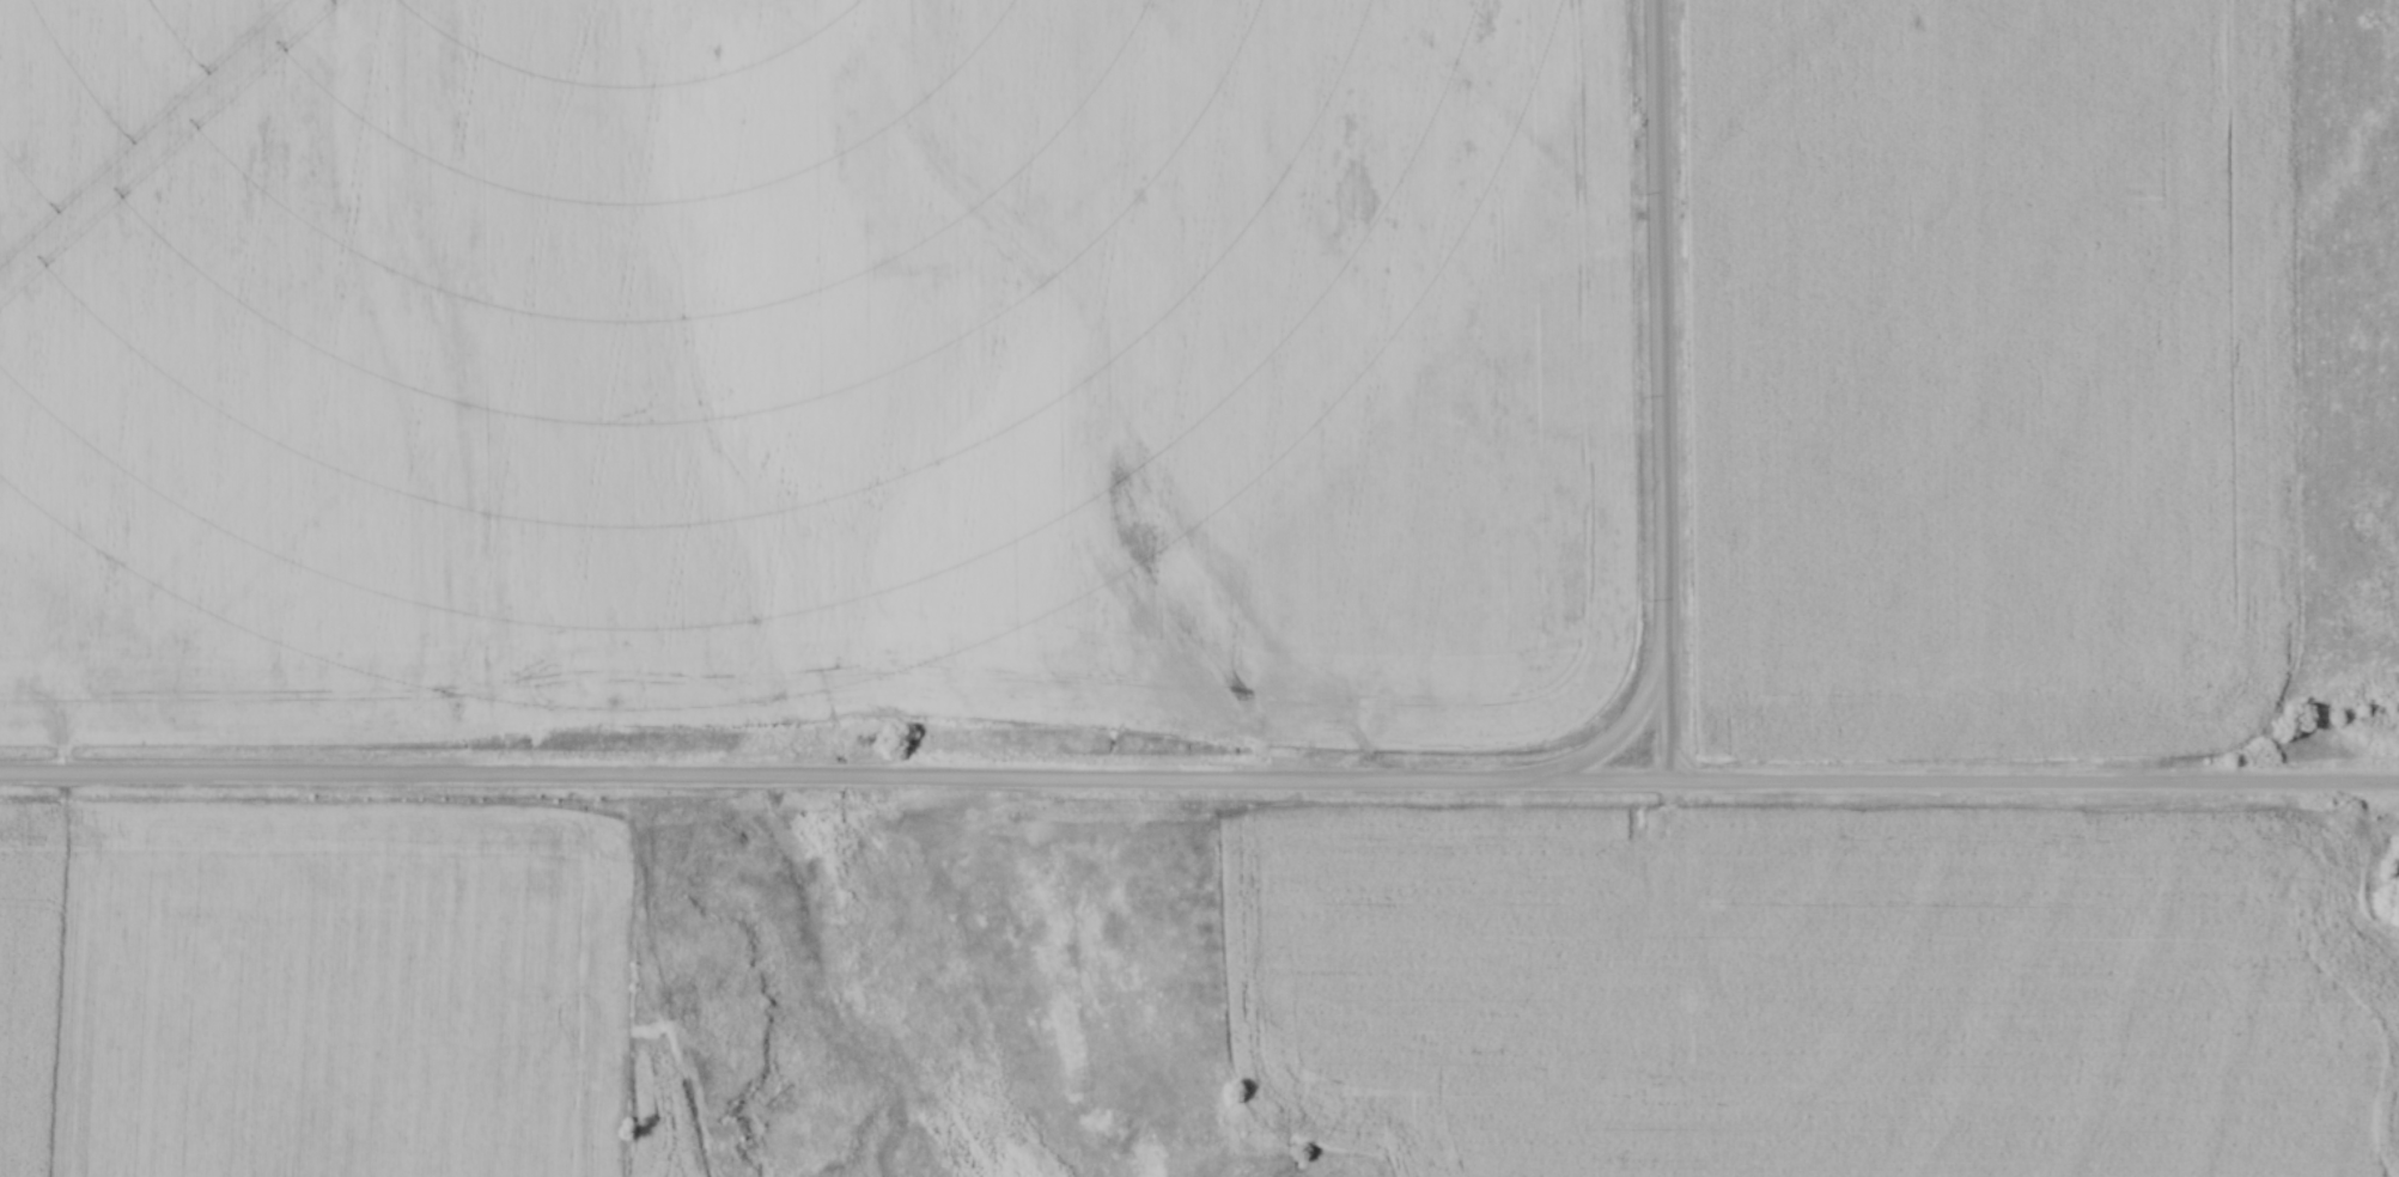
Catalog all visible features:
road: (1660, 422)
road: (1667, 719)
road: (767, 775)
road: (1966, 786)

